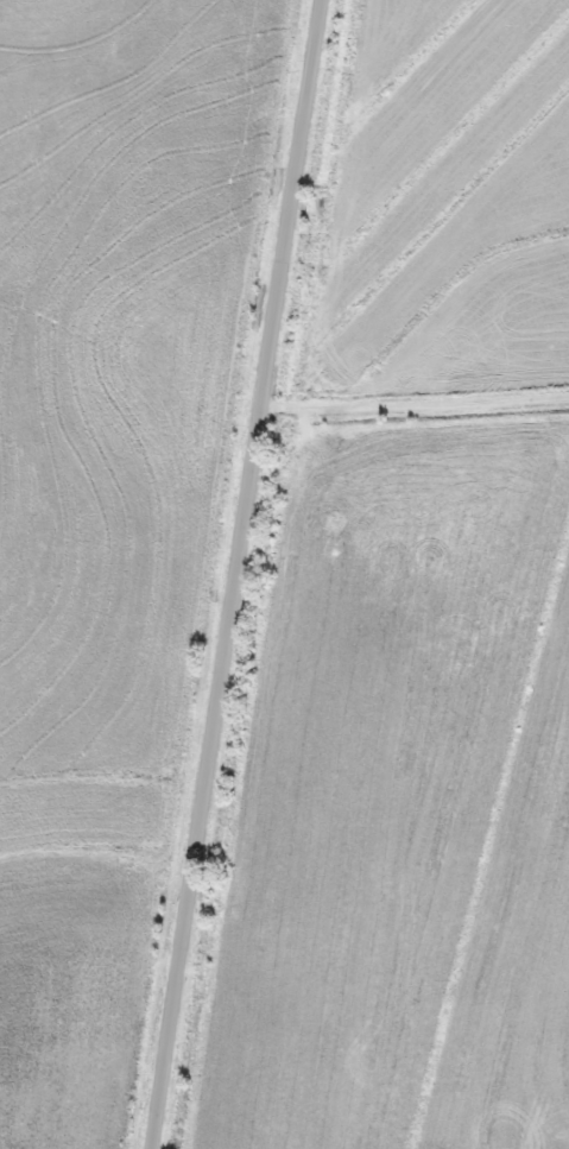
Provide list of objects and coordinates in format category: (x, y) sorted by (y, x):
road: (240, 575)

